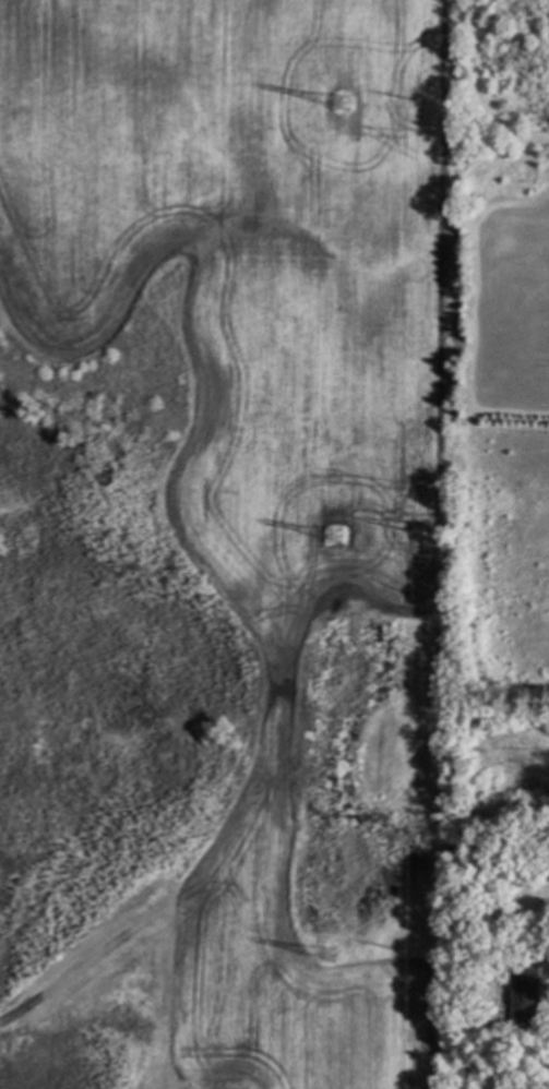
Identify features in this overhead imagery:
power tower: (339, 101)
crop: (497, 318)
crop: (255, 405)
power tower: (336, 528)
building: (458, 924)
road: (99, 948)
power tower: (326, 957)
building: (526, 993)

